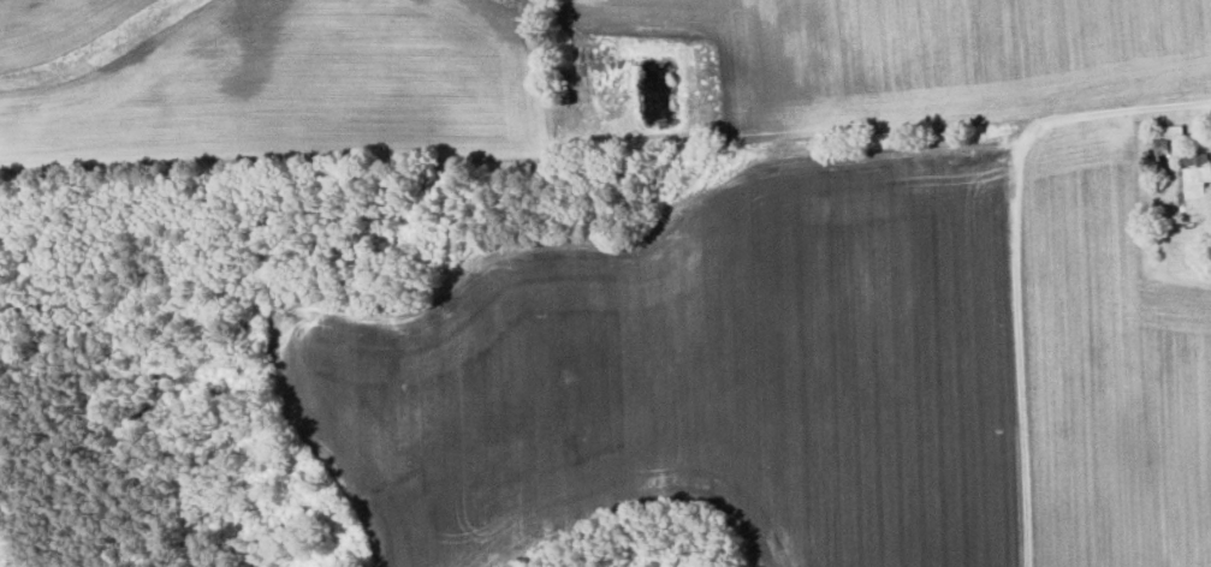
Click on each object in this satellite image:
road: (1160, 106)
building: (1197, 189)

